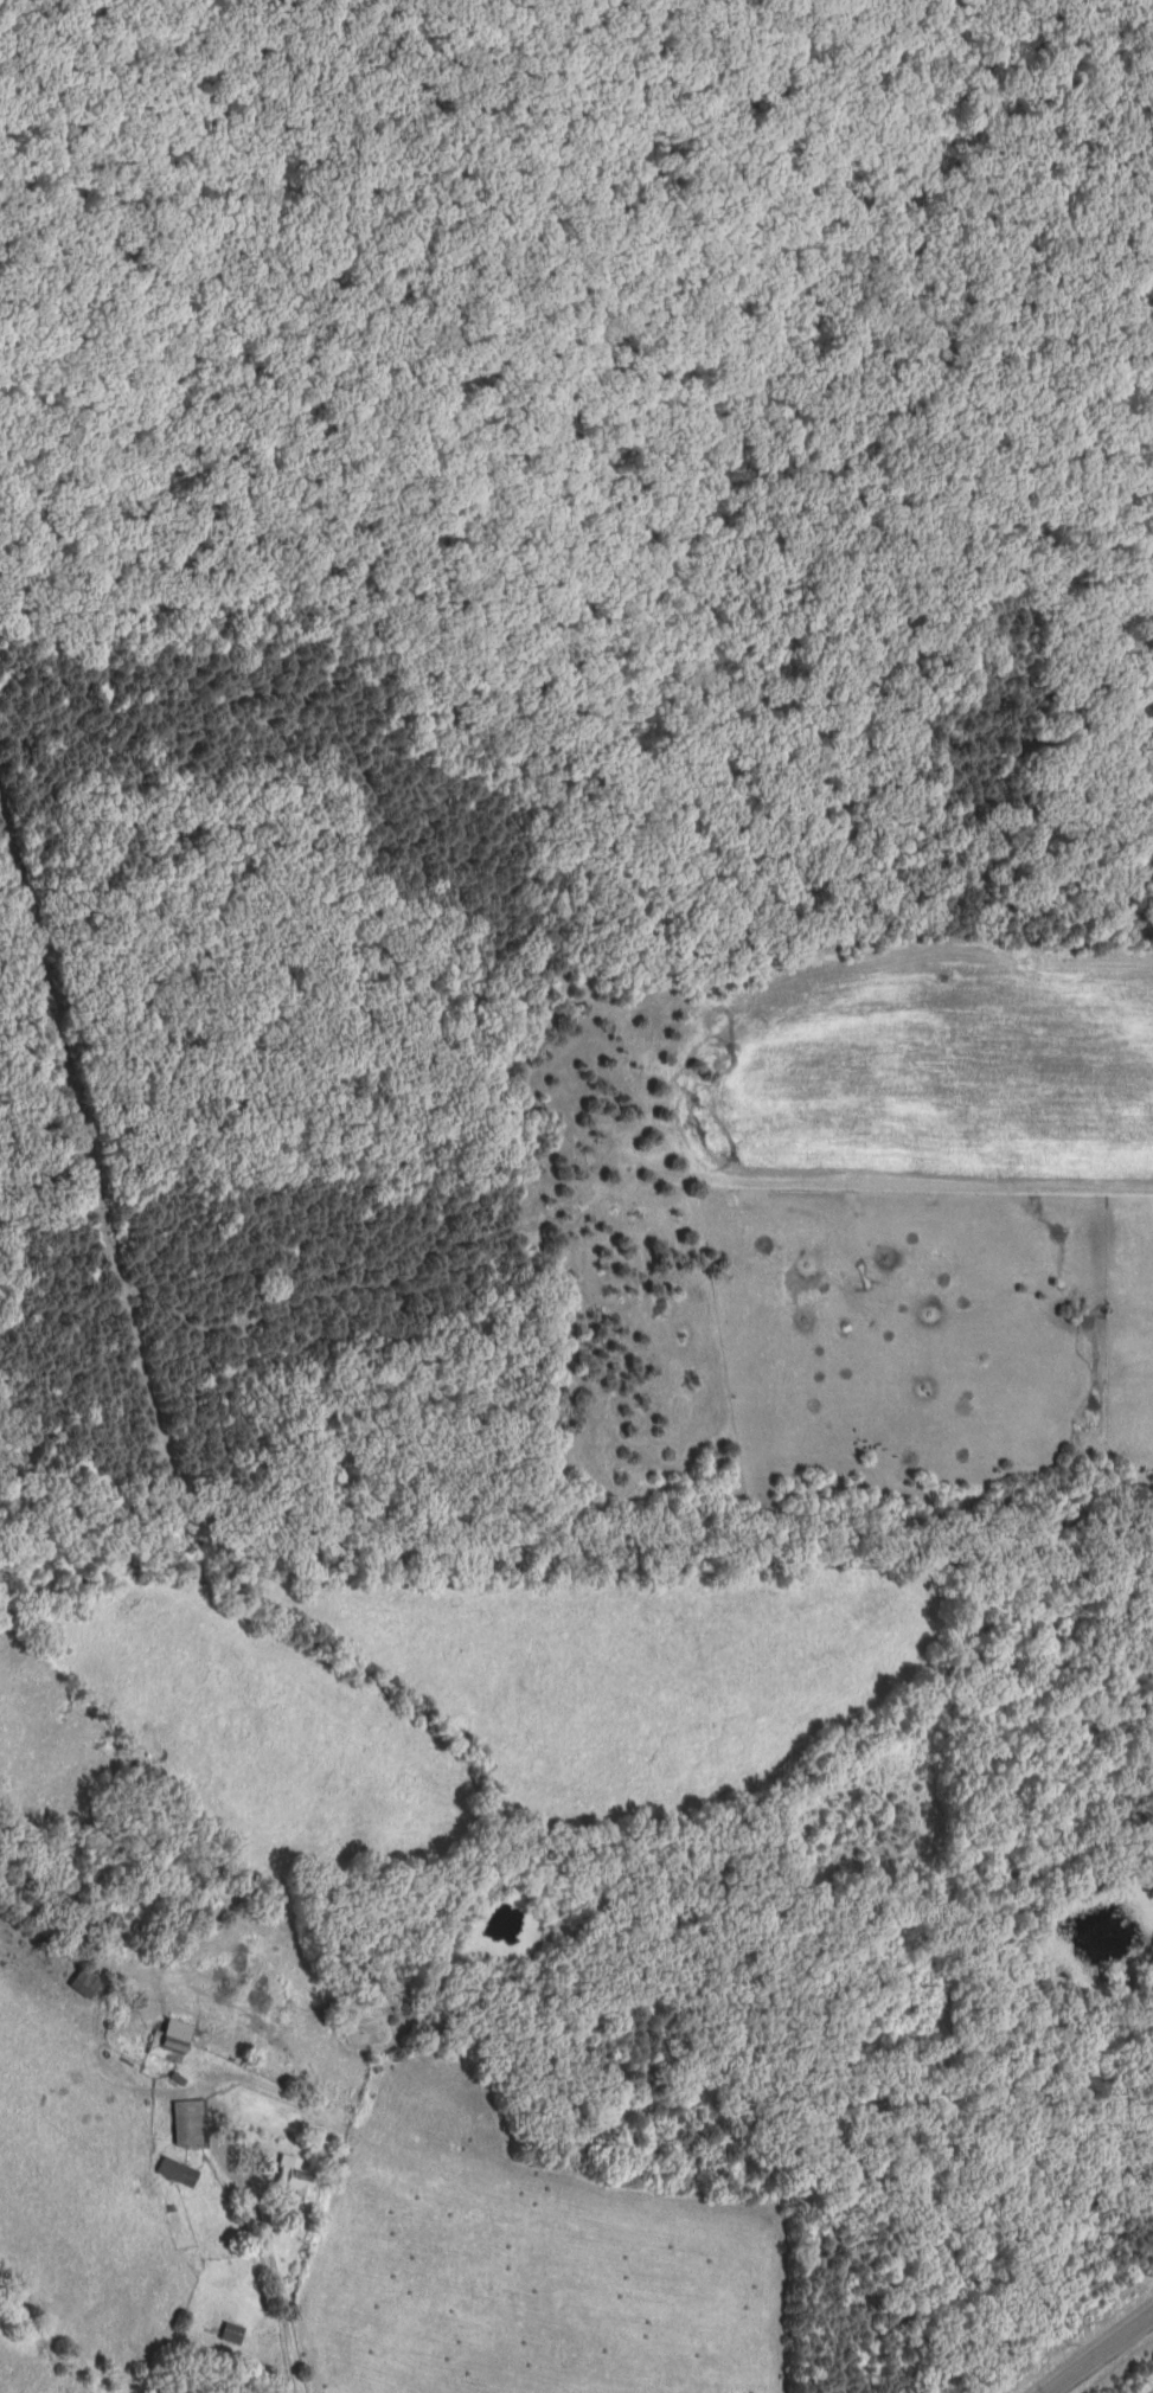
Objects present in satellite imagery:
building: (85, 1984)
building: (169, 2044)
building: (191, 2126)
building: (178, 2173)
building: (293, 2177)
road: (284, 2333)
building: (233, 2334)
road: (1100, 2354)

